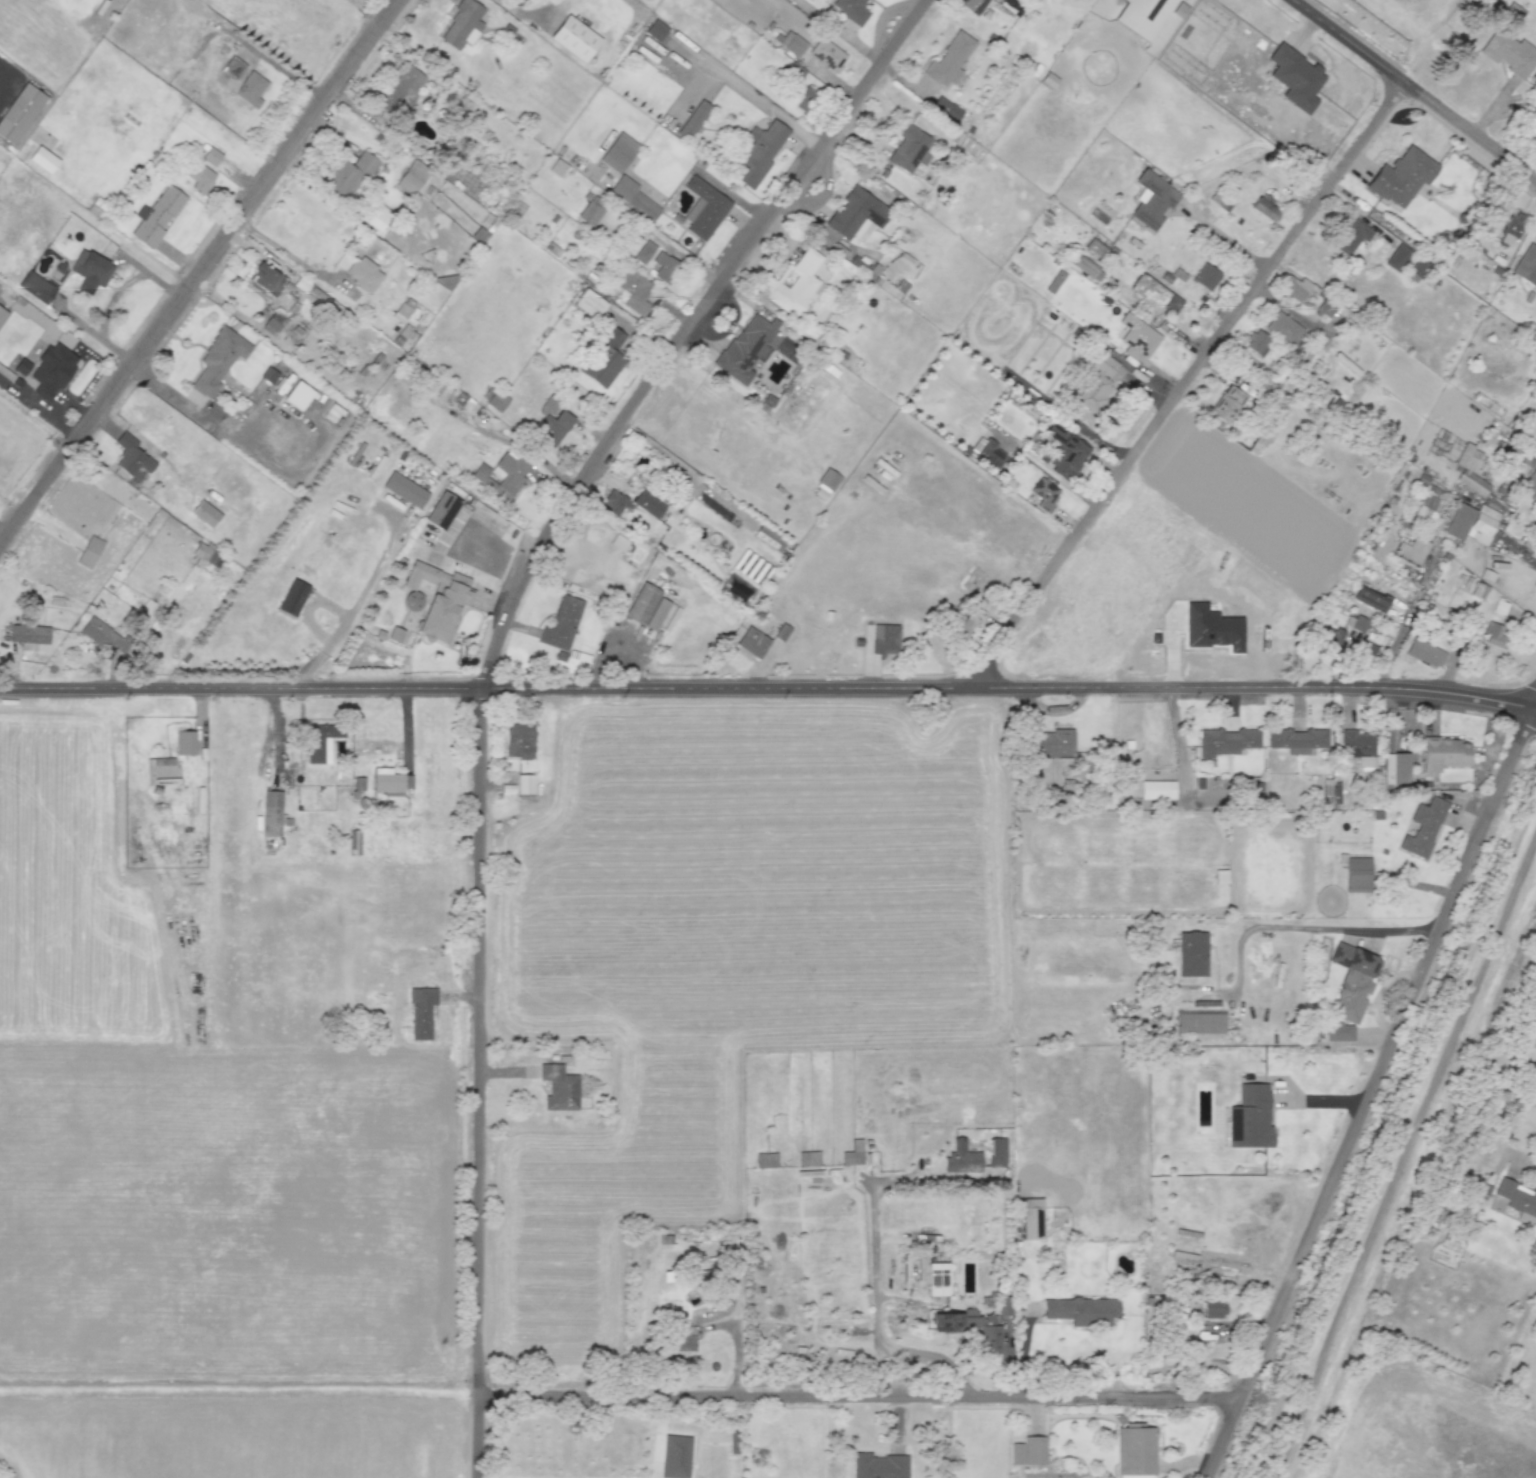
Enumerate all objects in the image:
building: (971, 5)
building: (851, 10)
building: (1141, 16)
building: (462, 25)
building: (655, 30)
building: (574, 38)
building: (792, 43)
building: (1509, 53)
building: (827, 54)
building: (949, 60)
road: (3, 68)
road: (271, 68)
building: (1295, 77)
building: (242, 82)
road: (735, 84)
building: (402, 90)
road: (1413, 90)
building: (806, 99)
building: (22, 112)
building: (694, 120)
building: (910, 149)
building: (618, 152)
building: (758, 153)
building: (43, 159)
building: (557, 167)
building: (203, 168)
building: (347, 175)
building: (1401, 176)
building: (414, 178)
building: (633, 197)
building: (1152, 200)
building: (1265, 207)
building: (704, 209)
building: (590, 213)
building: (857, 215)
building: (156, 216)
building: (1510, 227)
road: (1222, 236)
building: (1351, 236)
road: (280, 246)
building: (1095, 248)
building: (644, 252)
building: (1397, 257)
building: (1526, 265)
building: (665, 267)
building: (1085, 267)
building: (1417, 270)
building: (90, 271)
road: (197, 272)
building: (360, 272)
building: (1206, 276)
building: (265, 280)
building: (796, 284)
building: (36, 286)
building: (1295, 288)
building: (1147, 290)
building: (634, 292)
road: (114, 296)
building: (590, 303)
building: (1171, 304)
building: (1326, 307)
building: (403, 310)
building: (2, 314)
building: (1283, 328)
building: (1137, 337)
building: (1258, 343)
building: (745, 347)
building: (604, 358)
building: (218, 359)
building: (1103, 359)
building: (22, 366)
building: (52, 370)
building: (268, 375)
road: (1181, 382)
building: (1096, 394)
building: (298, 395)
building: (496, 401)
building: (1227, 403)
road: (38, 409)
building: (404, 409)
building: (553, 421)
building: (987, 452)
building: (1065, 452)
building: (131, 455)
building: (1467, 465)
building: (501, 475)
building: (828, 479)
building: (1532, 482)
building: (404, 489)
building: (1042, 494)
building: (613, 503)
building: (648, 503)
building: (1423, 509)
building: (442, 510)
building: (205, 513)
building: (1471, 523)
building: (769, 538)
building: (1534, 550)
building: (1411, 551)
building: (89, 552)
road: (1518, 554)
building: (205, 556)
building: (751, 567)
building: (737, 588)
building: (1478, 590)
building: (1369, 598)
building: (436, 600)
building: (646, 606)
road: (349, 615)
building: (562, 624)
building: (1359, 624)
building: (1211, 628)
building: (781, 632)
building: (395, 634)
building: (1494, 634)
building: (29, 635)
building: (103, 635)
building: (885, 639)
building: (752, 642)
building: (1425, 652)
road: (485, 671)
road: (768, 687)
building: (519, 740)
road: (1177, 740)
building: (1297, 740)
building: (1225, 741)
building: (185, 742)
building: (321, 742)
building: (1054, 744)
building: (1359, 748)
building: (1444, 753)
building: (1396, 768)
building: (390, 782)
building: (358, 783)
building: (1157, 790)
building: (1331, 790)
building: (271, 813)
building: (1423, 827)
building: (354, 841)
building: (1357, 874)
crop: (753, 877)
road: (1309, 925)
building: (1192, 954)
building: (376, 974)
building: (1352, 981)
building: (421, 1013)
building: (1199, 1024)
building: (1339, 1032)
building: (559, 1087)
road: (1369, 1092)
building: (1251, 1120)
crop: (189, 1129)
building: (997, 1152)
building: (853, 1153)
road: (1399, 1156)
building: (961, 1158)
road: (1405, 1159)
road: (1521, 1169)
crop: (604, 1191)
building: (1518, 1199)
building: (1032, 1218)
building: (938, 1279)
road: (876, 1294)
building: (1005, 1305)
building: (1214, 1309)
building: (1081, 1310)
building: (972, 1327)
building: (683, 1343)
road: (736, 1345)
road: (858, 1394)
crop: (232, 1434)
crop: (980, 1440)
building: (1135, 1449)
building: (1028, 1451)
building: (675, 1457)
building: (879, 1466)
road: (481, 1477)

